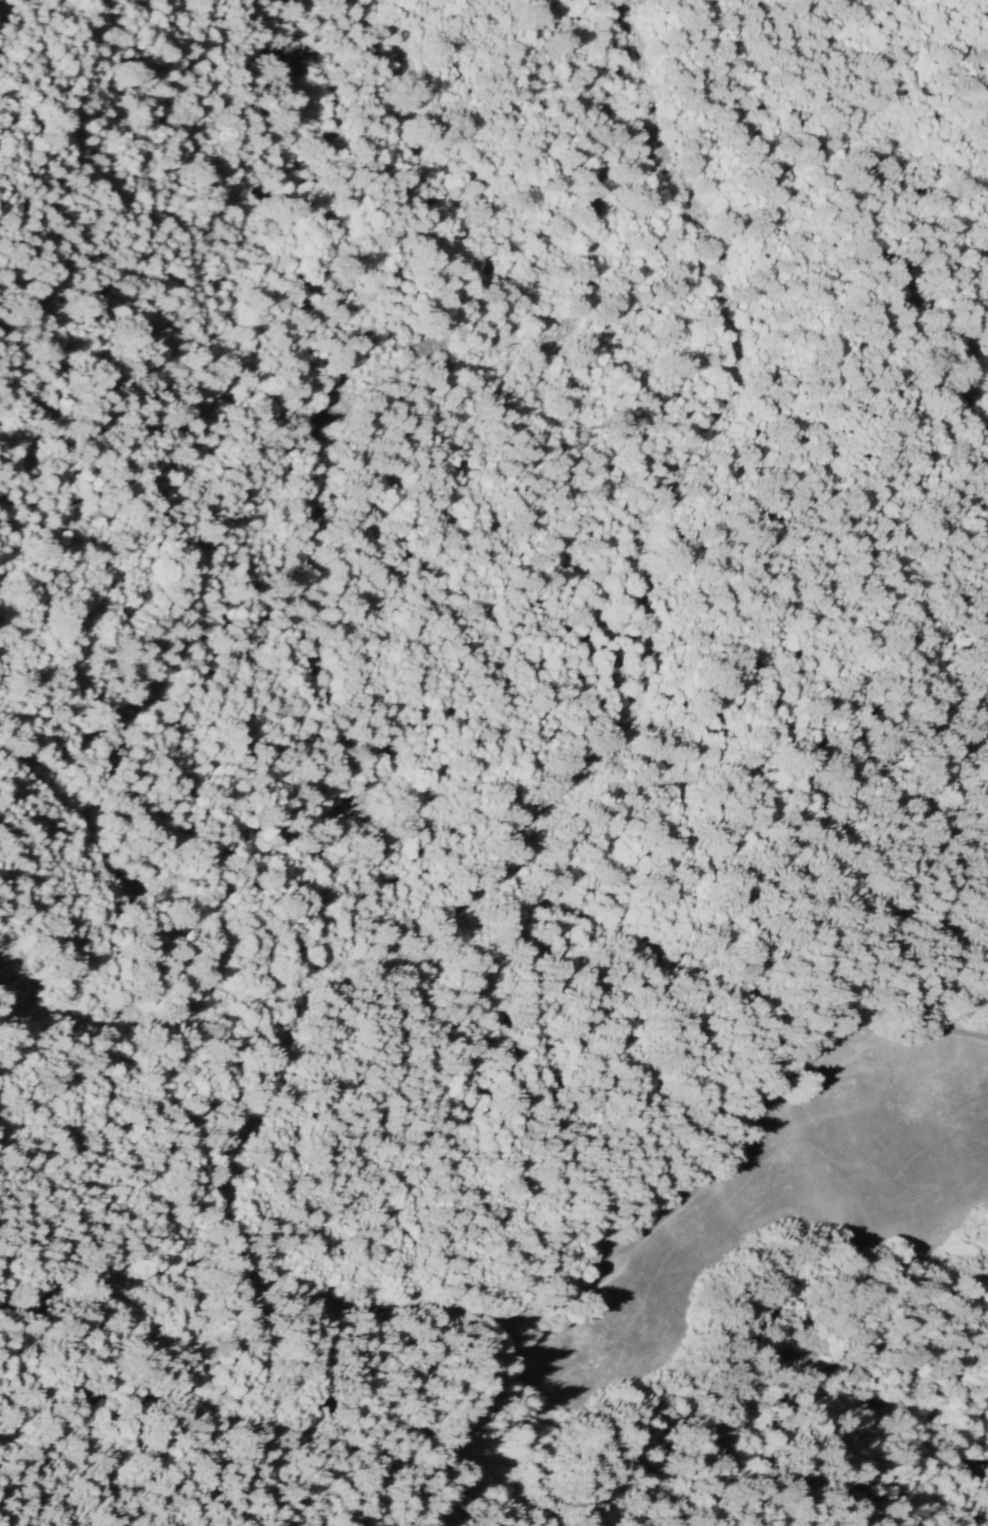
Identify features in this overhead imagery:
road: (542, 1318)
road: (537, 1429)

